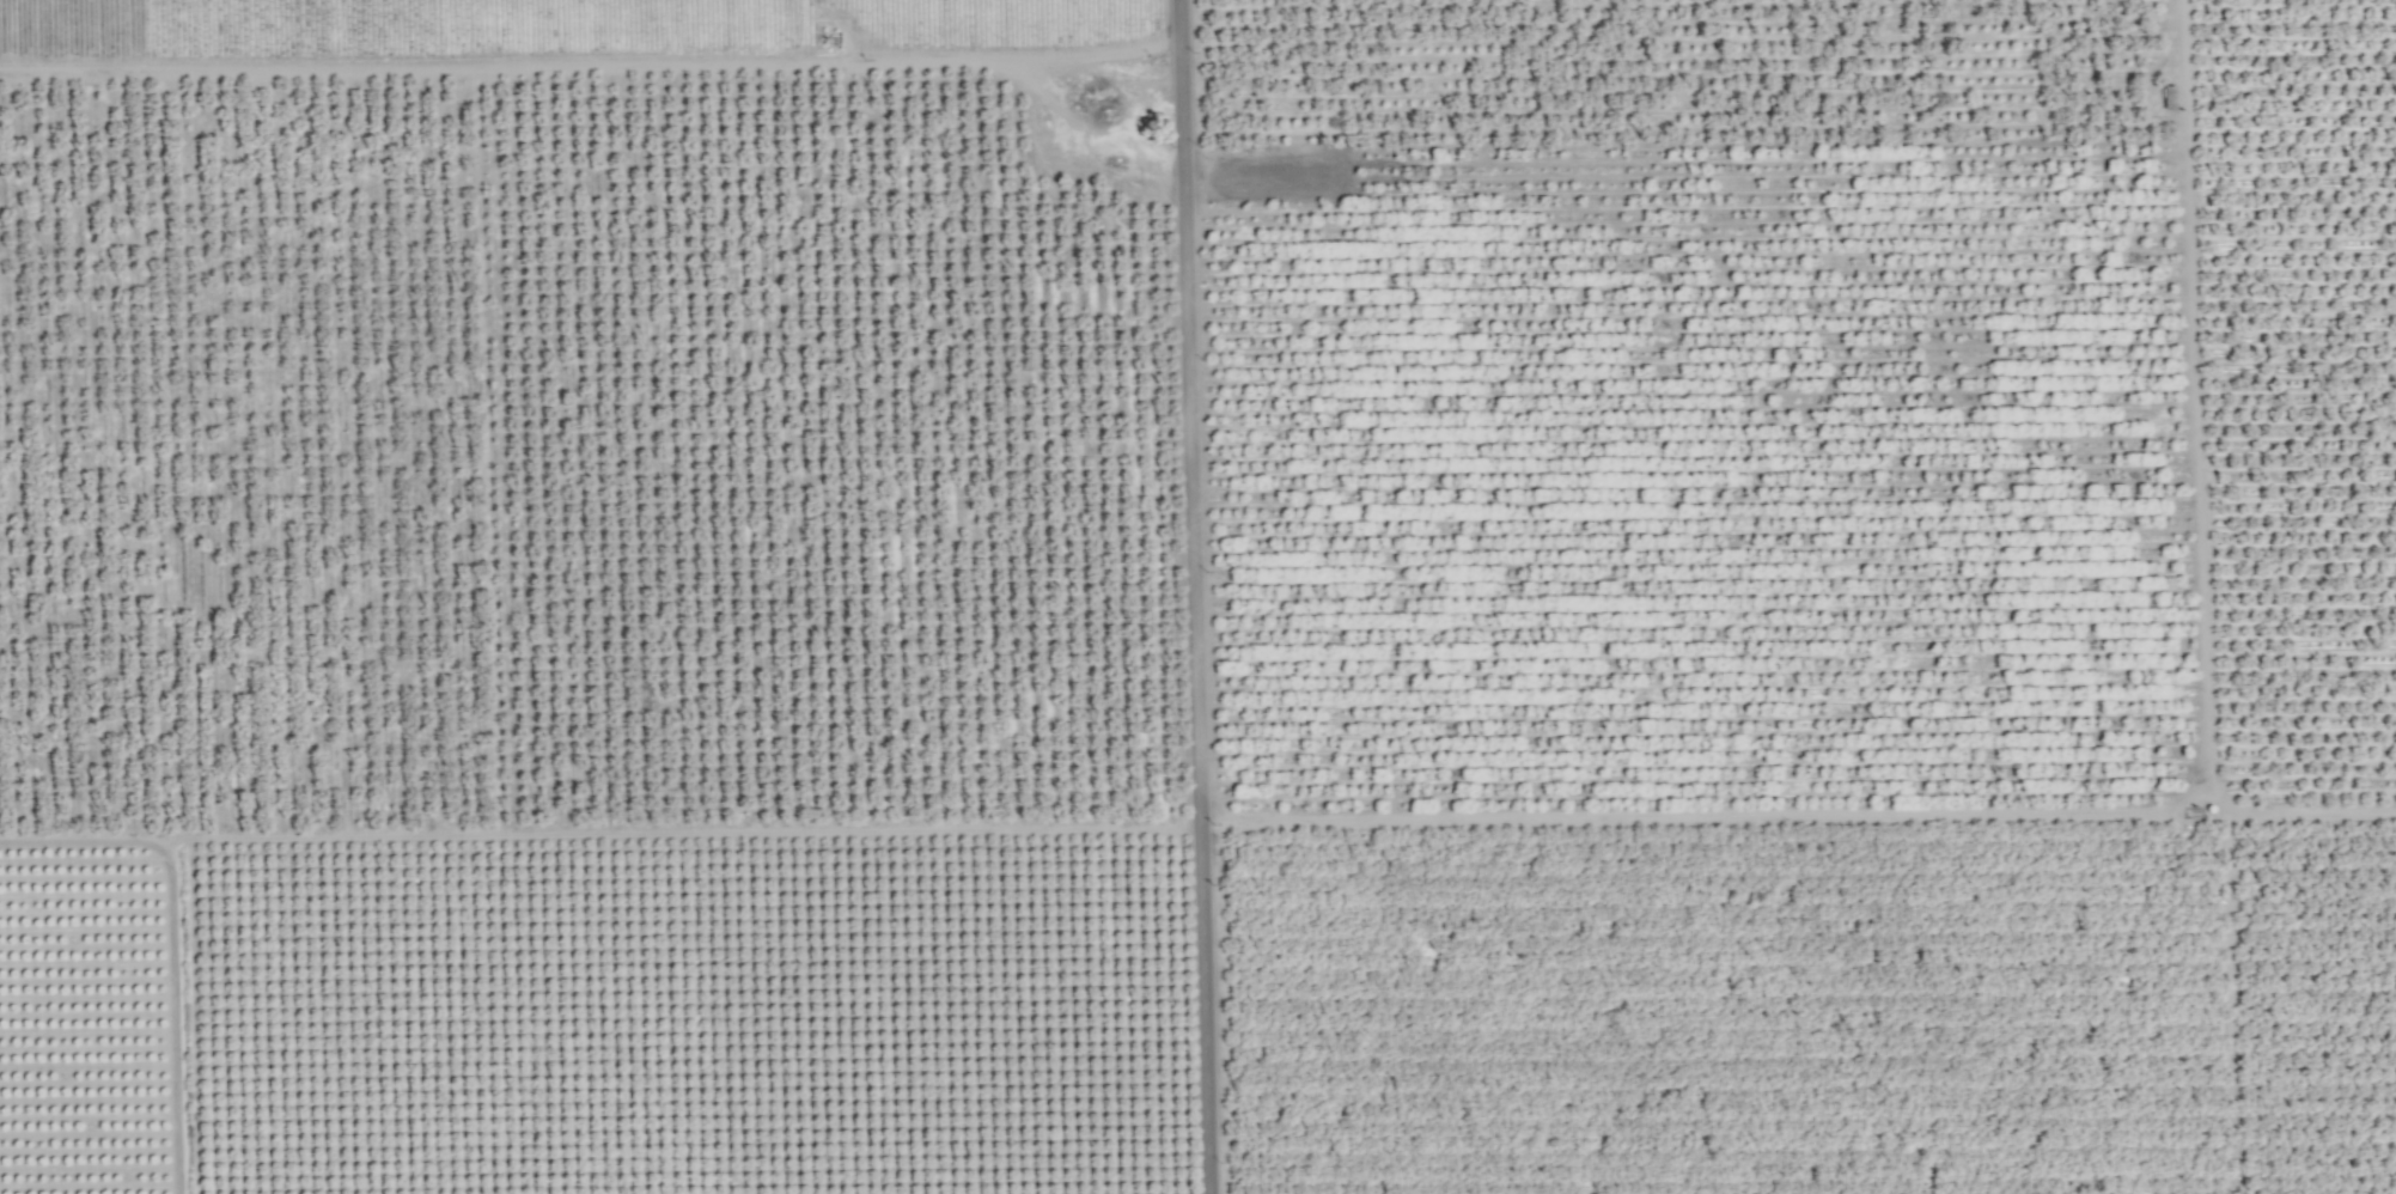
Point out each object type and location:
building: (2164, 100)
road: (1199, 596)
road: (2109, 820)
road: (603, 835)

